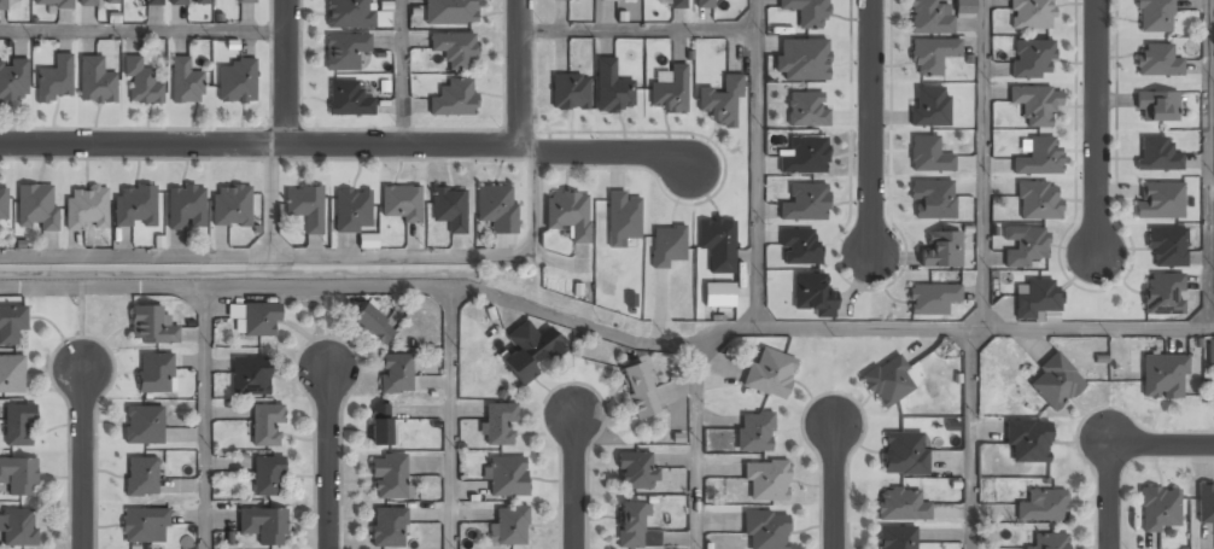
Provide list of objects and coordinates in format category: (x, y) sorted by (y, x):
building: (614, 0)
building: (245, 1)
building: (98, 2)
building: (188, 2)
building: (154, 4)
building: (2, 5)
building: (52, 5)
building: (677, 5)
building: (705, 5)
building: (964, 7)
building: (450, 12)
building: (348, 13)
building: (807, 13)
building: (1032, 14)
building: (1154, 16)
building: (929, 18)
road: (640, 28)
road: (144, 29)
building: (454, 51)
building: (344, 52)
building: (932, 57)
building: (802, 59)
building: (1033, 59)
building: (1157, 60)
road: (287, 74)
road: (403, 75)
road: (521, 75)
building: (53, 80)
building: (13, 81)
building: (95, 82)
building: (186, 82)
building: (237, 82)
building: (140, 83)
building: (612, 88)
building: (570, 93)
building: (670, 93)
building: (454, 99)
building: (348, 100)
building: (722, 104)
building: (1035, 105)
building: (1157, 106)
building: (929, 107)
building: (817, 121)
road: (1098, 125)
road: (872, 127)
road: (261, 148)
road: (612, 151)
building: (1157, 156)
building: (804, 157)
building: (928, 157)
building: (1040, 157)
road: (759, 163)
road: (984, 164)
road: (1210, 164)
building: (932, 200)
building: (1161, 200)
building: (398, 202)
building: (1038, 202)
building: (805, 203)
building: (4, 205)
building: (230, 206)
building: (135, 208)
building: (305, 208)
building: (36, 209)
building: (186, 209)
building: (449, 209)
building: (496, 209)
building: (84, 210)
building: (352, 211)
building: (570, 214)
building: (623, 217)
building: (718, 244)
building: (667, 245)
building: (1025, 246)
building: (1167, 246)
building: (799, 247)
building: (942, 250)
building: (813, 294)
building: (1161, 294)
building: (933, 298)
building: (1037, 299)
building: (259, 321)
building: (11, 325)
building: (151, 326)
building: (374, 326)
road: (608, 331)
building: (531, 351)
building: (1212, 354)
building: (770, 373)
building: (12, 374)
building: (154, 374)
building: (396, 375)
building: (250, 378)
building: (1163, 378)
building: (888, 381)
building: (1055, 382)
building: (640, 391)
road: (205, 417)
road: (448, 419)
building: (18, 425)
building: (267, 425)
building: (144, 426)
building: (380, 426)
building: (500, 426)
building: (754, 432)
road: (970, 438)
building: (1028, 443)
road: (1161, 448)
road: (693, 451)
building: (904, 455)
road: (82, 456)
road: (327, 457)
building: (635, 472)
building: (18, 477)
building: (267, 477)
building: (506, 477)
building: (141, 478)
building: (390, 478)
road: (571, 481)
building: (766, 481)
road: (833, 486)
road: (1108, 498)
building: (1206, 504)
building: (901, 507)
building: (1043, 507)
building: (1158, 509)
building: (142, 524)
building: (263, 525)
building: (508, 526)
building: (17, 528)
building: (387, 528)
building: (634, 528)
building: (766, 531)
building: (895, 538)
building: (1047, 542)

